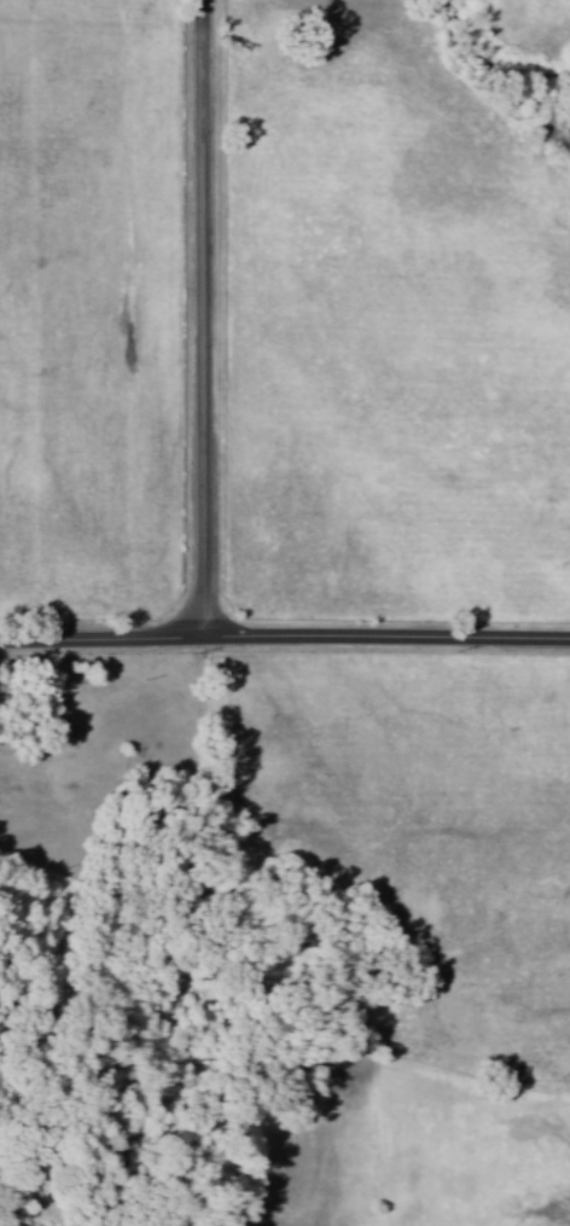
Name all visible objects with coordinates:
road: (205, 321)
road: (284, 641)

